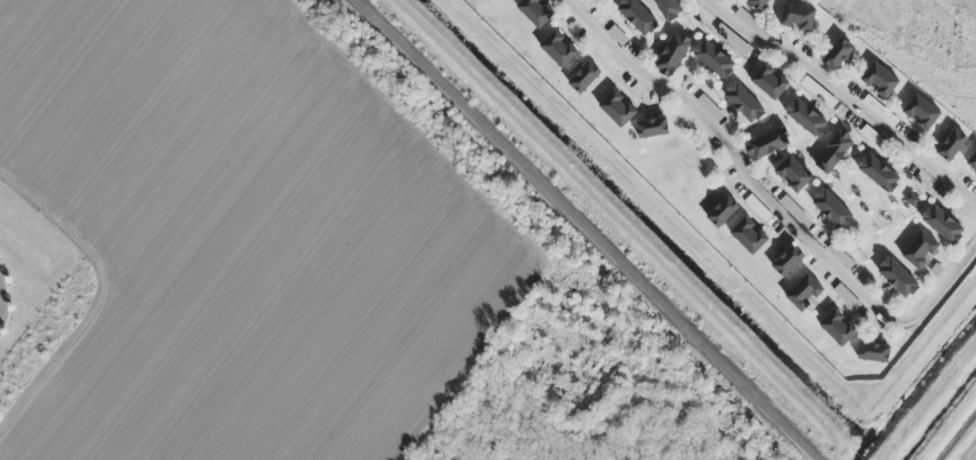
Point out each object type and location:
building: (760, 3)
building: (537, 11)
building: (639, 15)
building: (799, 15)
building: (559, 47)
building: (839, 52)
building: (674, 53)
building: (715, 57)
building: (585, 75)
building: (881, 78)
building: (770, 79)
road: (845, 94)
building: (745, 100)
building: (619, 107)
building: (922, 110)
building: (807, 116)
building: (654, 126)
building: (770, 141)
building: (953, 143)
building: (835, 150)
building: (972, 159)
road: (739, 160)
building: (794, 172)
building: (880, 172)
building: (973, 186)
building: (758, 207)
building: (793, 207)
building: (834, 207)
building: (724, 210)
building: (944, 222)
railway: (589, 230)
building: (750, 234)
building: (922, 249)
building: (841, 255)
building: (789, 259)
building: (899, 276)
road: (943, 279)
building: (806, 291)
building: (848, 295)
building: (839, 326)
building: (875, 351)
road: (963, 444)

